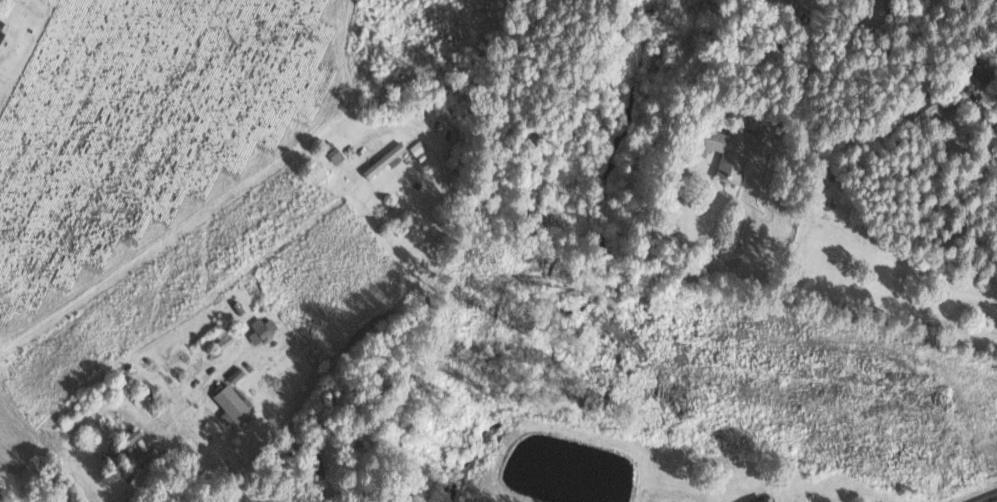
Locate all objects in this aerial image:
building: (3, 27)
building: (982, 71)
building: (934, 105)
building: (418, 147)
building: (737, 147)
building: (385, 159)
road: (444, 161)
road: (967, 208)
road: (866, 306)
building: (262, 328)
road: (317, 382)
building: (233, 397)
road: (987, 498)

